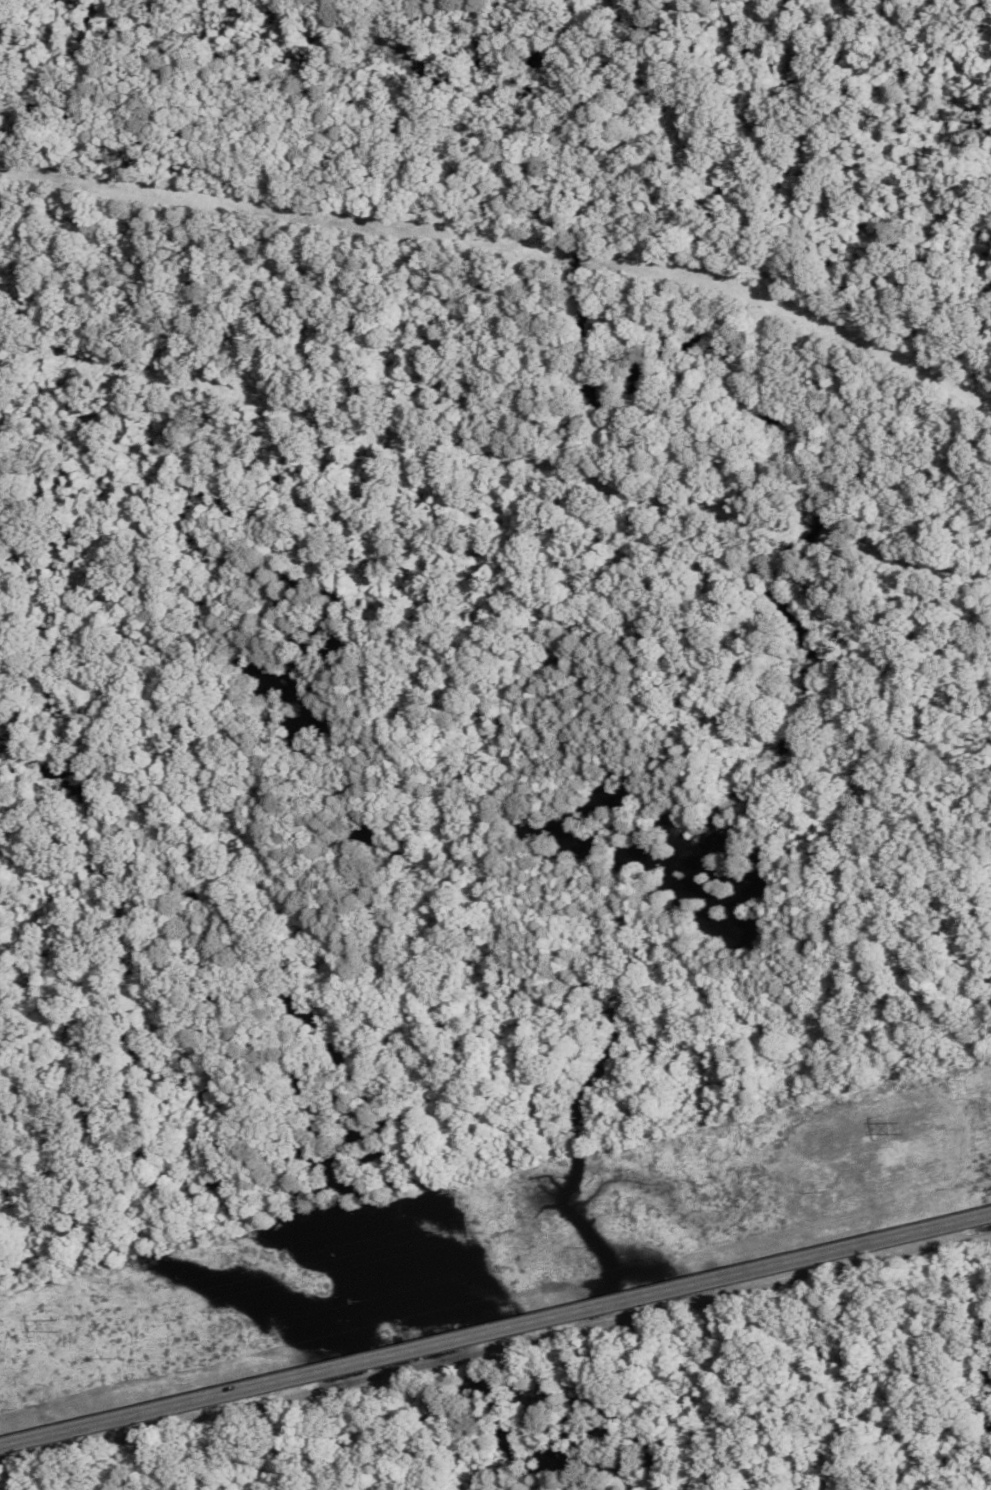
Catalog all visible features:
power tower: (897, 1128)
power tower: (478, 1226)
power tower: (56, 1327)
road: (495, 1331)

